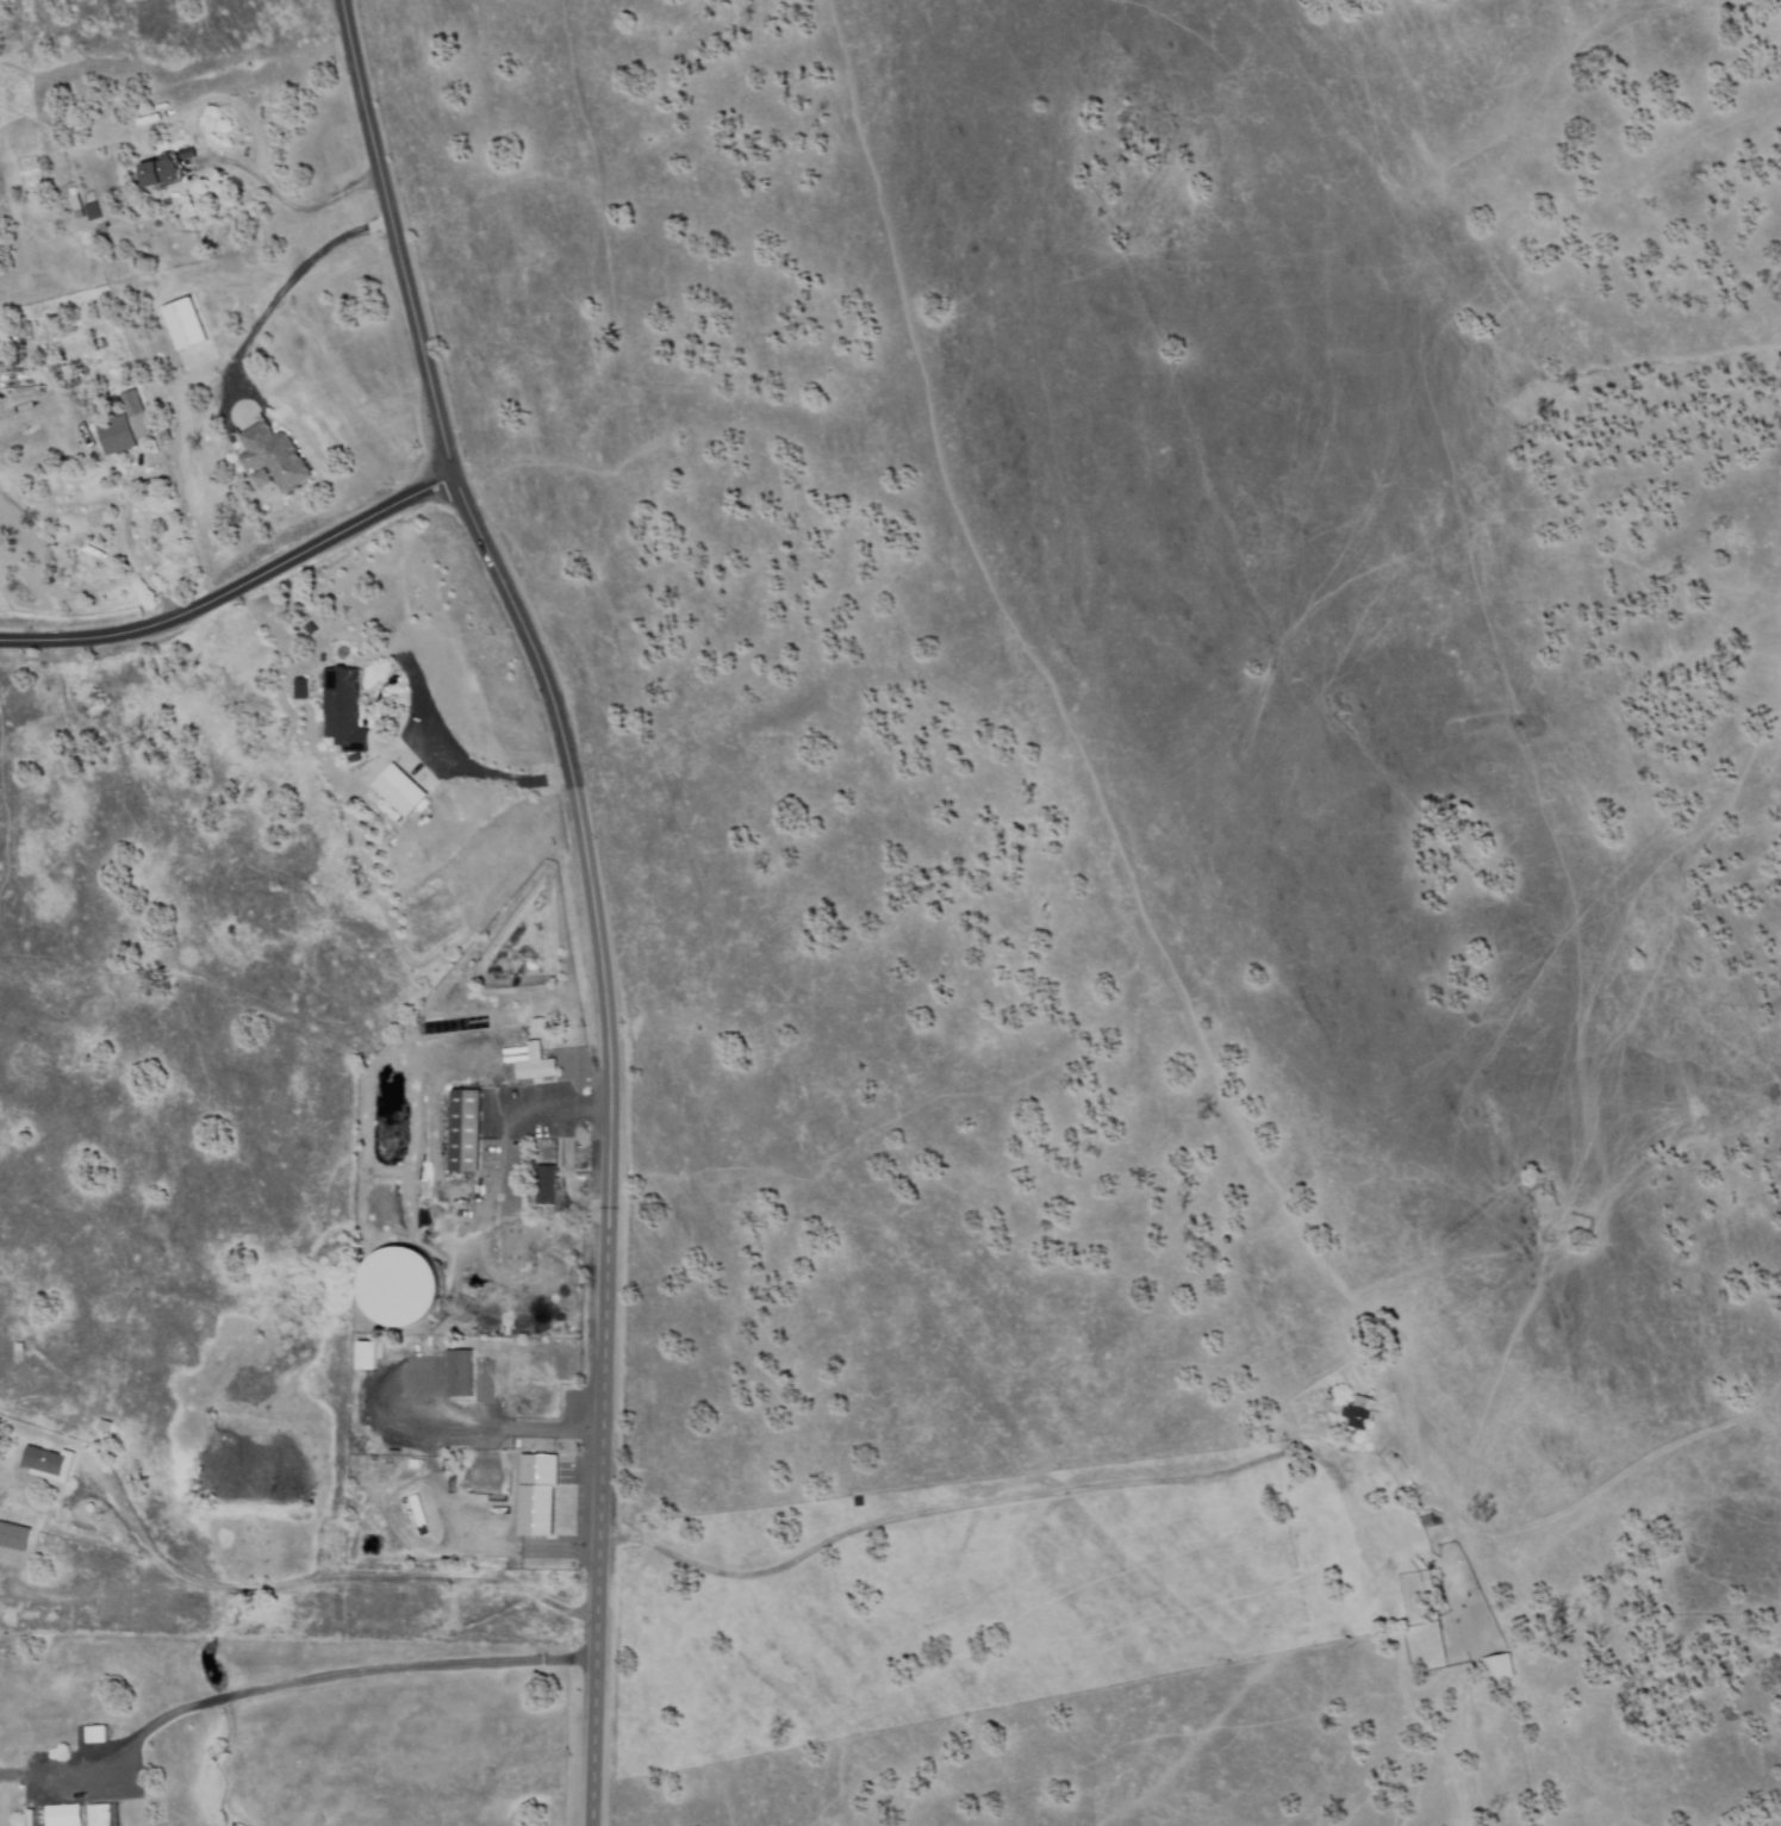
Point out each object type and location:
building: (186, 154)
building: (163, 170)
building: (194, 177)
building: (75, 202)
building: (93, 211)
building: (149, 216)
building: (27, 332)
building: (5, 338)
building: (100, 344)
building: (68, 370)
building: (112, 403)
road: (429, 411)
building: (136, 415)
building: (87, 434)
building: (114, 435)
building: (164, 436)
building: (152, 447)
building: (274, 456)
building: (260, 479)
road: (230, 588)
building: (297, 688)
building: (344, 710)
building: (400, 791)
building: (537, 1026)
building: (517, 1049)
building: (517, 1060)
building: (535, 1065)
building: (579, 1065)
building: (463, 1130)
building: (546, 1178)
storage tank: (399, 1286)
building: (396, 1288)
road: (596, 1316)
building: (19, 1346)
building: (366, 1357)
building: (460, 1373)
building: (1357, 1411)
building: (106, 1427)
building: (46, 1464)
road: (1219, 1471)
building: (535, 1472)
building: (417, 1509)
building: (533, 1513)
building: (1427, 1522)
building: (13, 1537)
building: (0, 1650)
building: (1497, 1668)
building: (104, 1815)
building: (63, 1816)
building: (31, 1818)

